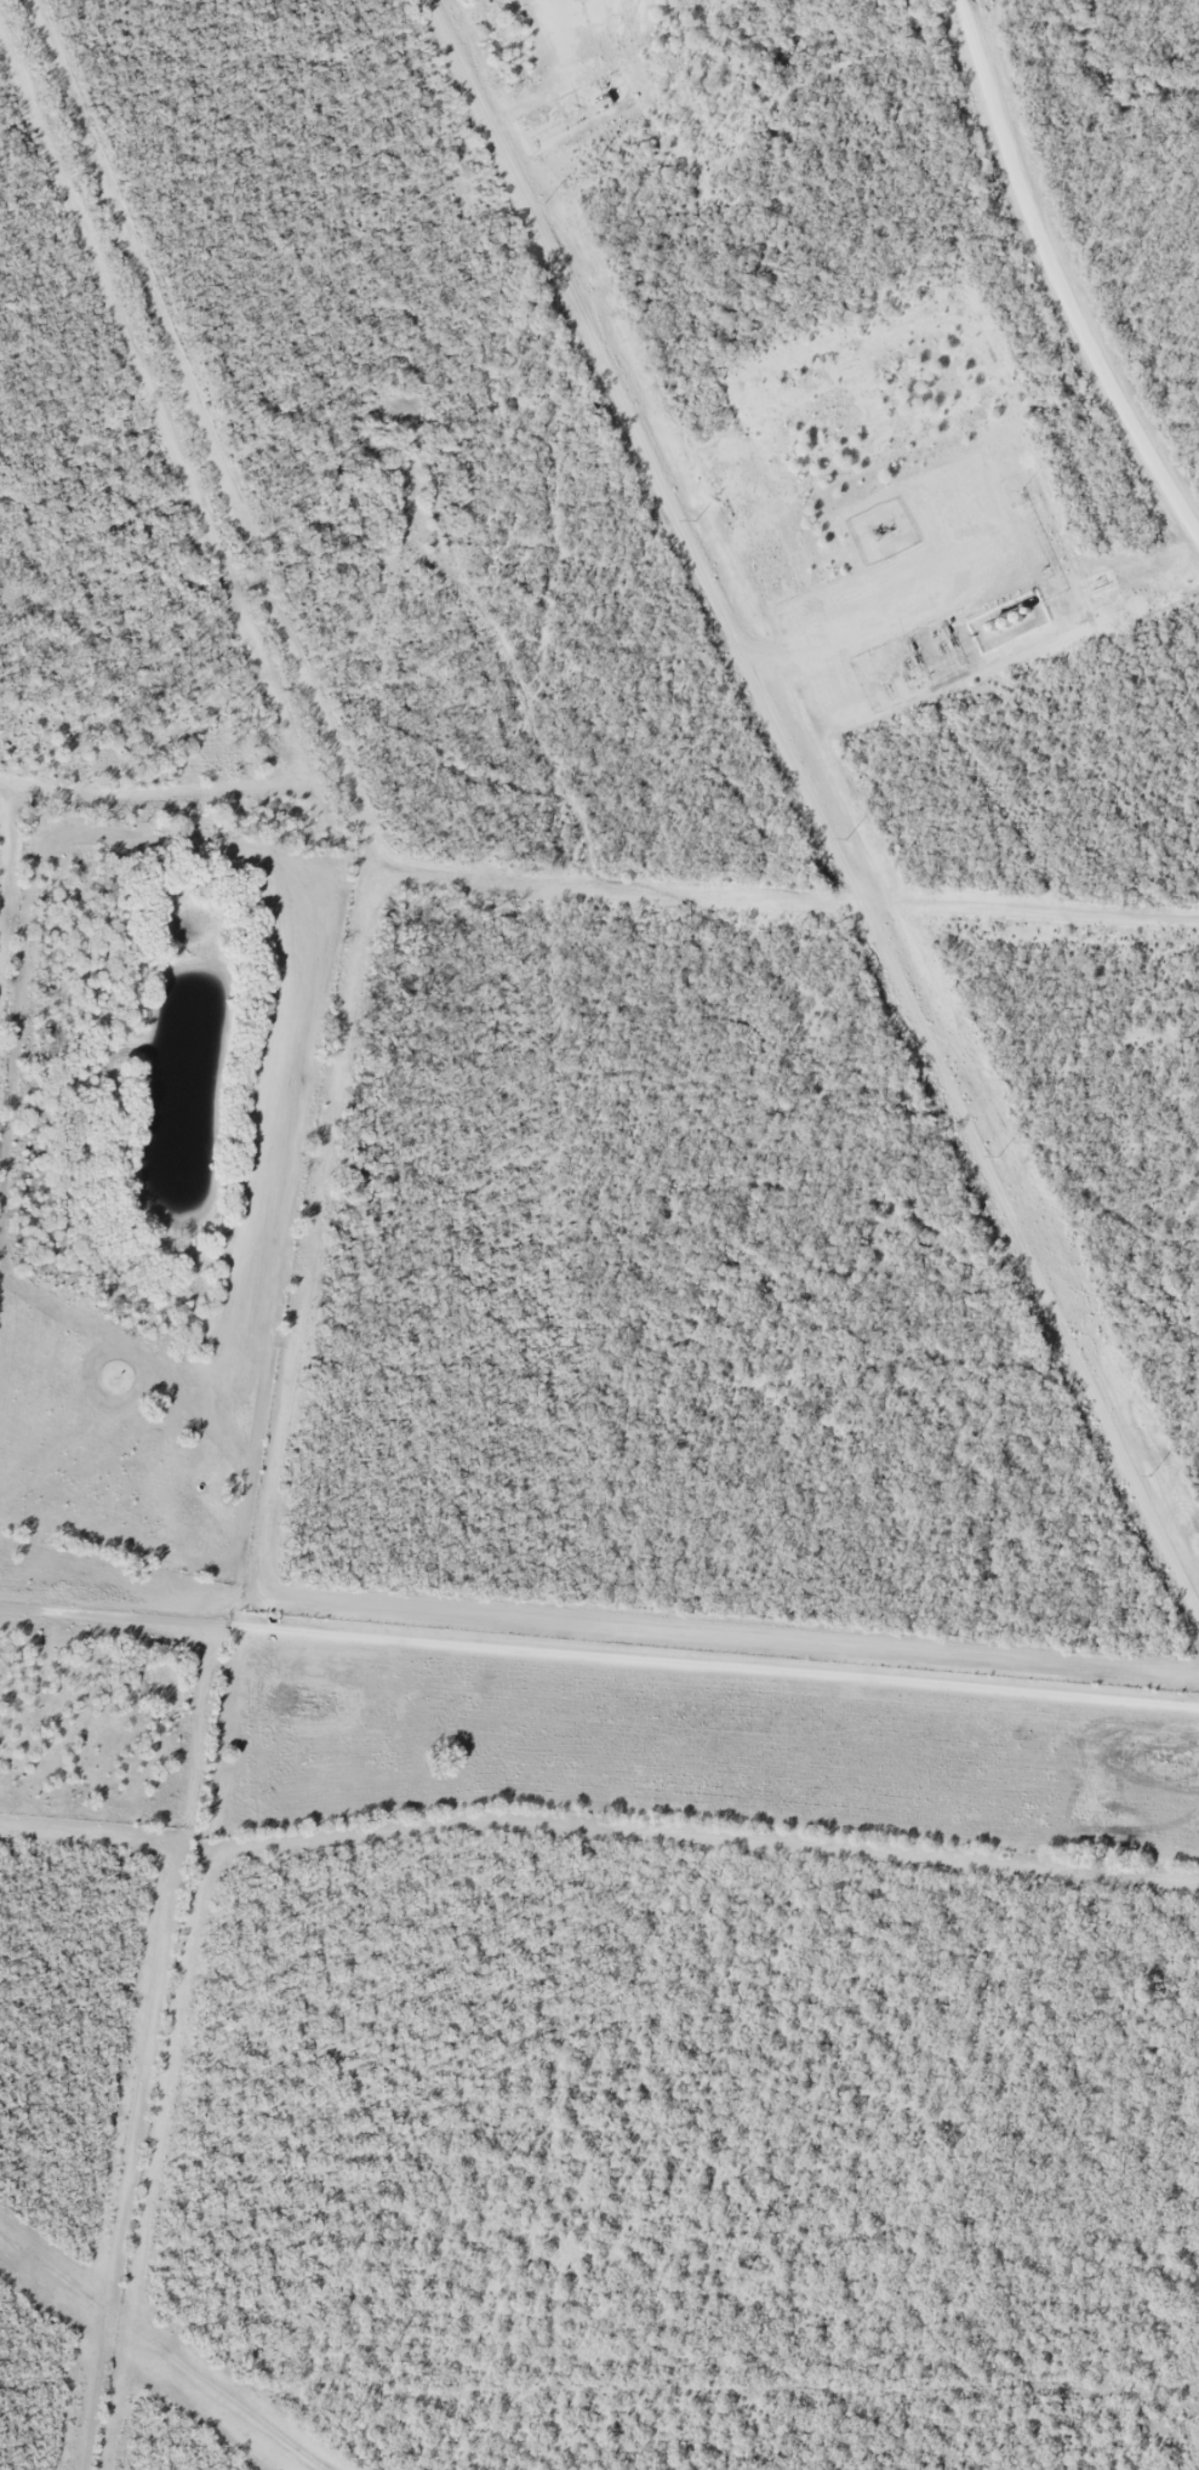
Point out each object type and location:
power tower: (542, 202)
road: (1058, 274)
power tower: (695, 519)
power tower: (846, 834)
power tower: (1001, 1156)
power tower: (1153, 1477)
road: (599, 1655)

